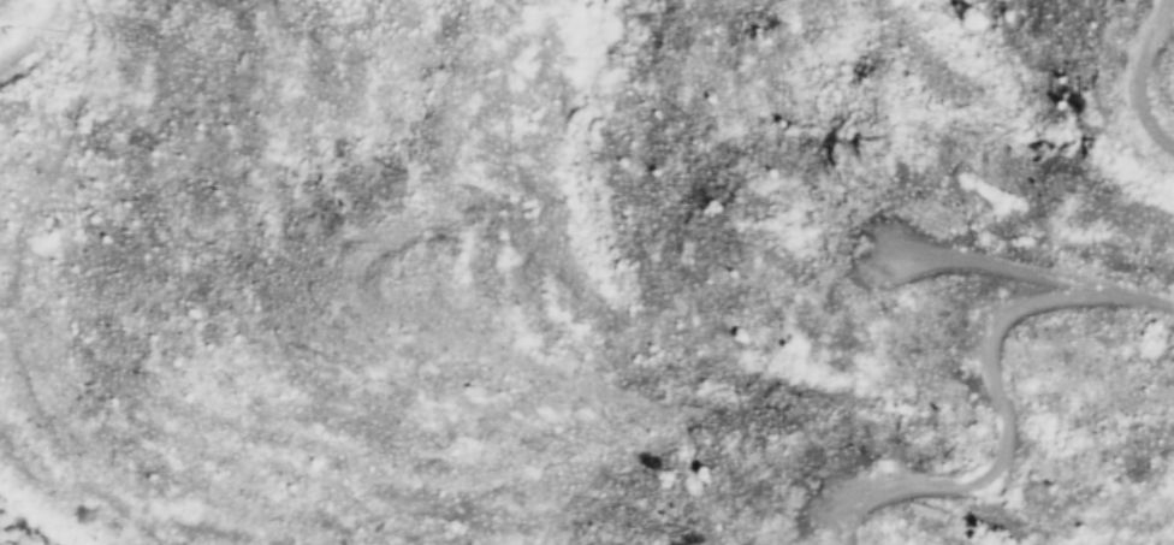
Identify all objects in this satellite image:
road: (13, 12)

